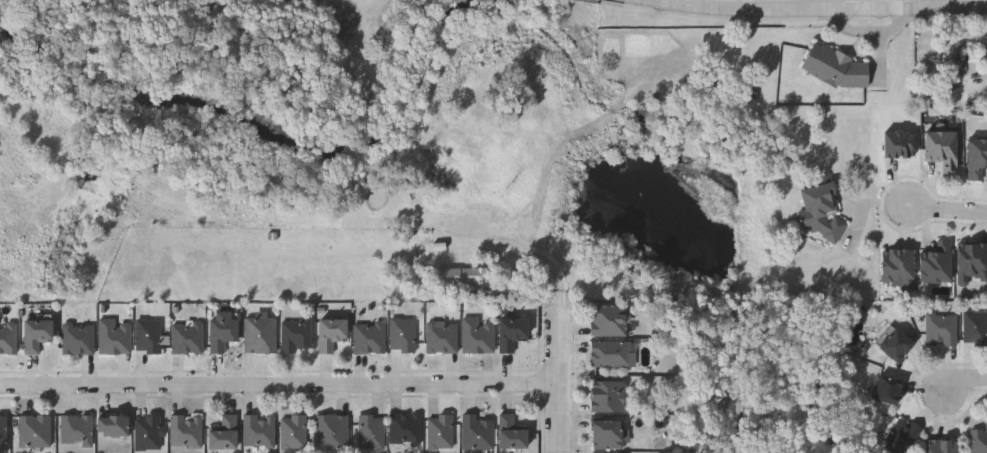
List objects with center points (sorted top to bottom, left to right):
road: (935, 3)
road: (961, 6)
road: (890, 7)
road: (754, 9)
building: (836, 68)
building: (899, 144)
building: (942, 148)
building: (976, 157)
building: (819, 211)
road: (947, 211)
road: (538, 251)
building: (972, 262)
building: (936, 263)
building: (898, 267)
building: (464, 277)
building: (608, 318)
building: (975, 326)
building: (220, 327)
building: (942, 328)
building: (330, 331)
building: (511, 331)
building: (35, 333)
building: (259, 333)
building: (295, 333)
building: (403, 333)
building: (478, 333)
building: (146, 334)
building: (113, 335)
building: (186, 335)
building: (369, 336)
building: (442, 336)
building: (8, 337)
building: (77, 337)
building: (895, 344)
building: (612, 352)
road: (969, 383)
road: (563, 386)
building: (887, 388)
road: (281, 391)
building: (607, 395)
building: (112, 424)
building: (76, 428)
building: (405, 428)
building: (184, 429)
building: (258, 429)
building: (34, 430)
building: (293, 430)
building: (371, 430)
building: (441, 430)
building: (147, 431)
building: (222, 431)
building: (332, 431)
building: (476, 431)
building: (510, 431)
building: (3, 433)
building: (608, 433)
building: (900, 435)
building: (978, 440)
building: (942, 445)
building: (608, 452)

